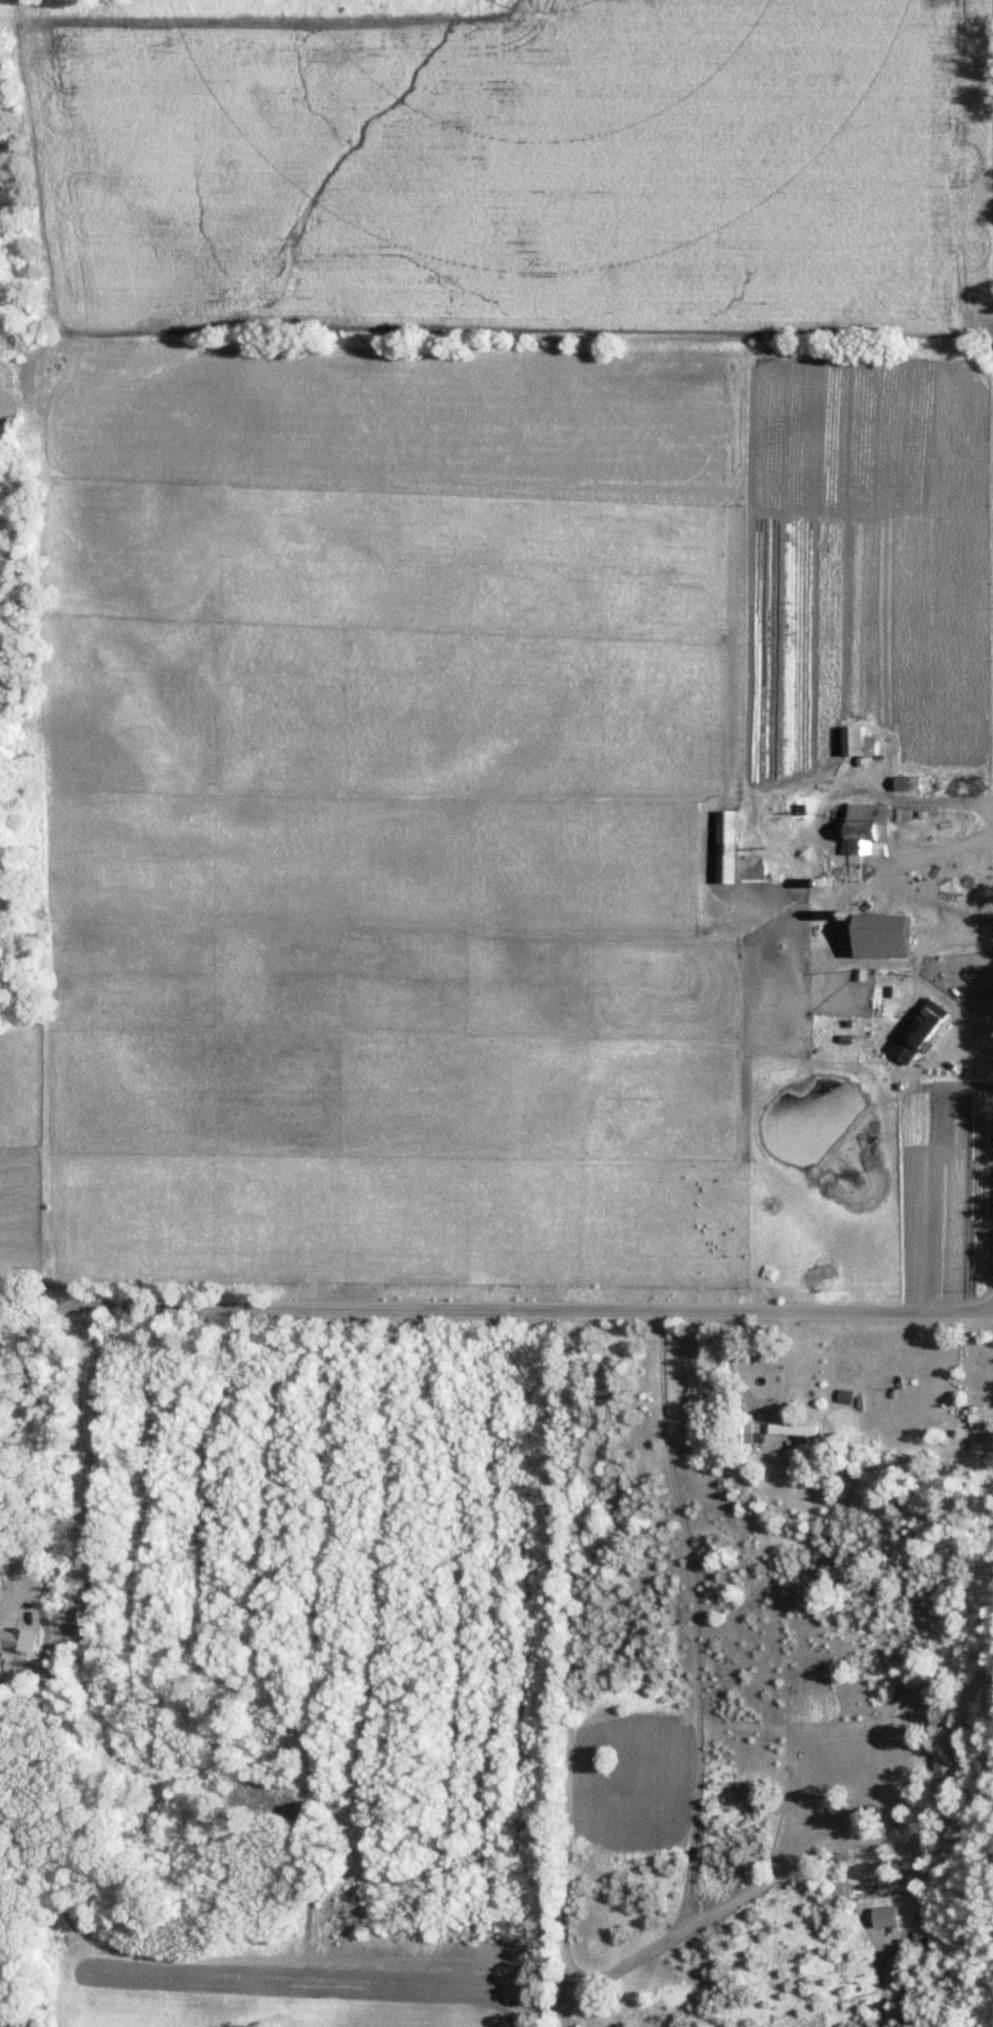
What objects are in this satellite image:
building: (851, 741)
building: (906, 783)
building: (798, 796)
building: (832, 841)
building: (724, 848)
building: (914, 1030)
road: (496, 1307)
building: (741, 1429)
building: (788, 1429)
building: (941, 1766)

